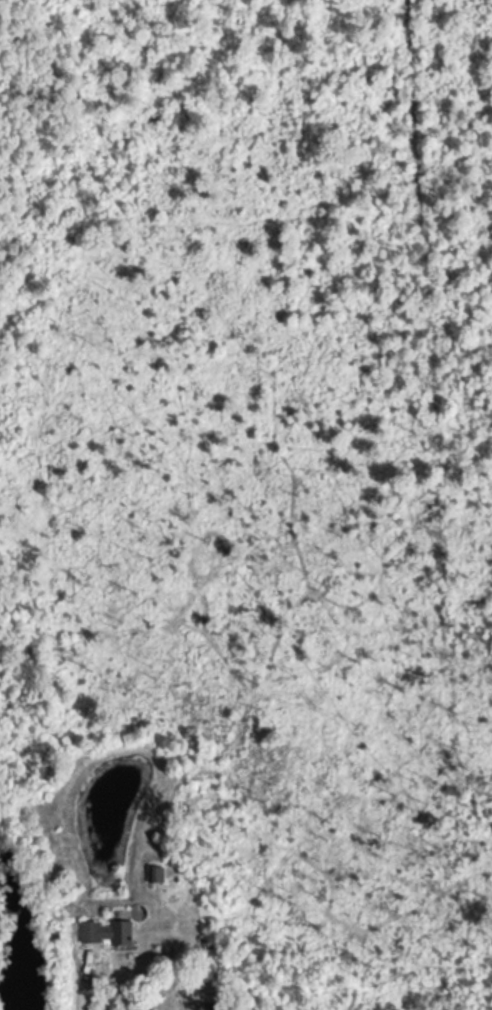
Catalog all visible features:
building: (160, 875)
building: (113, 931)

